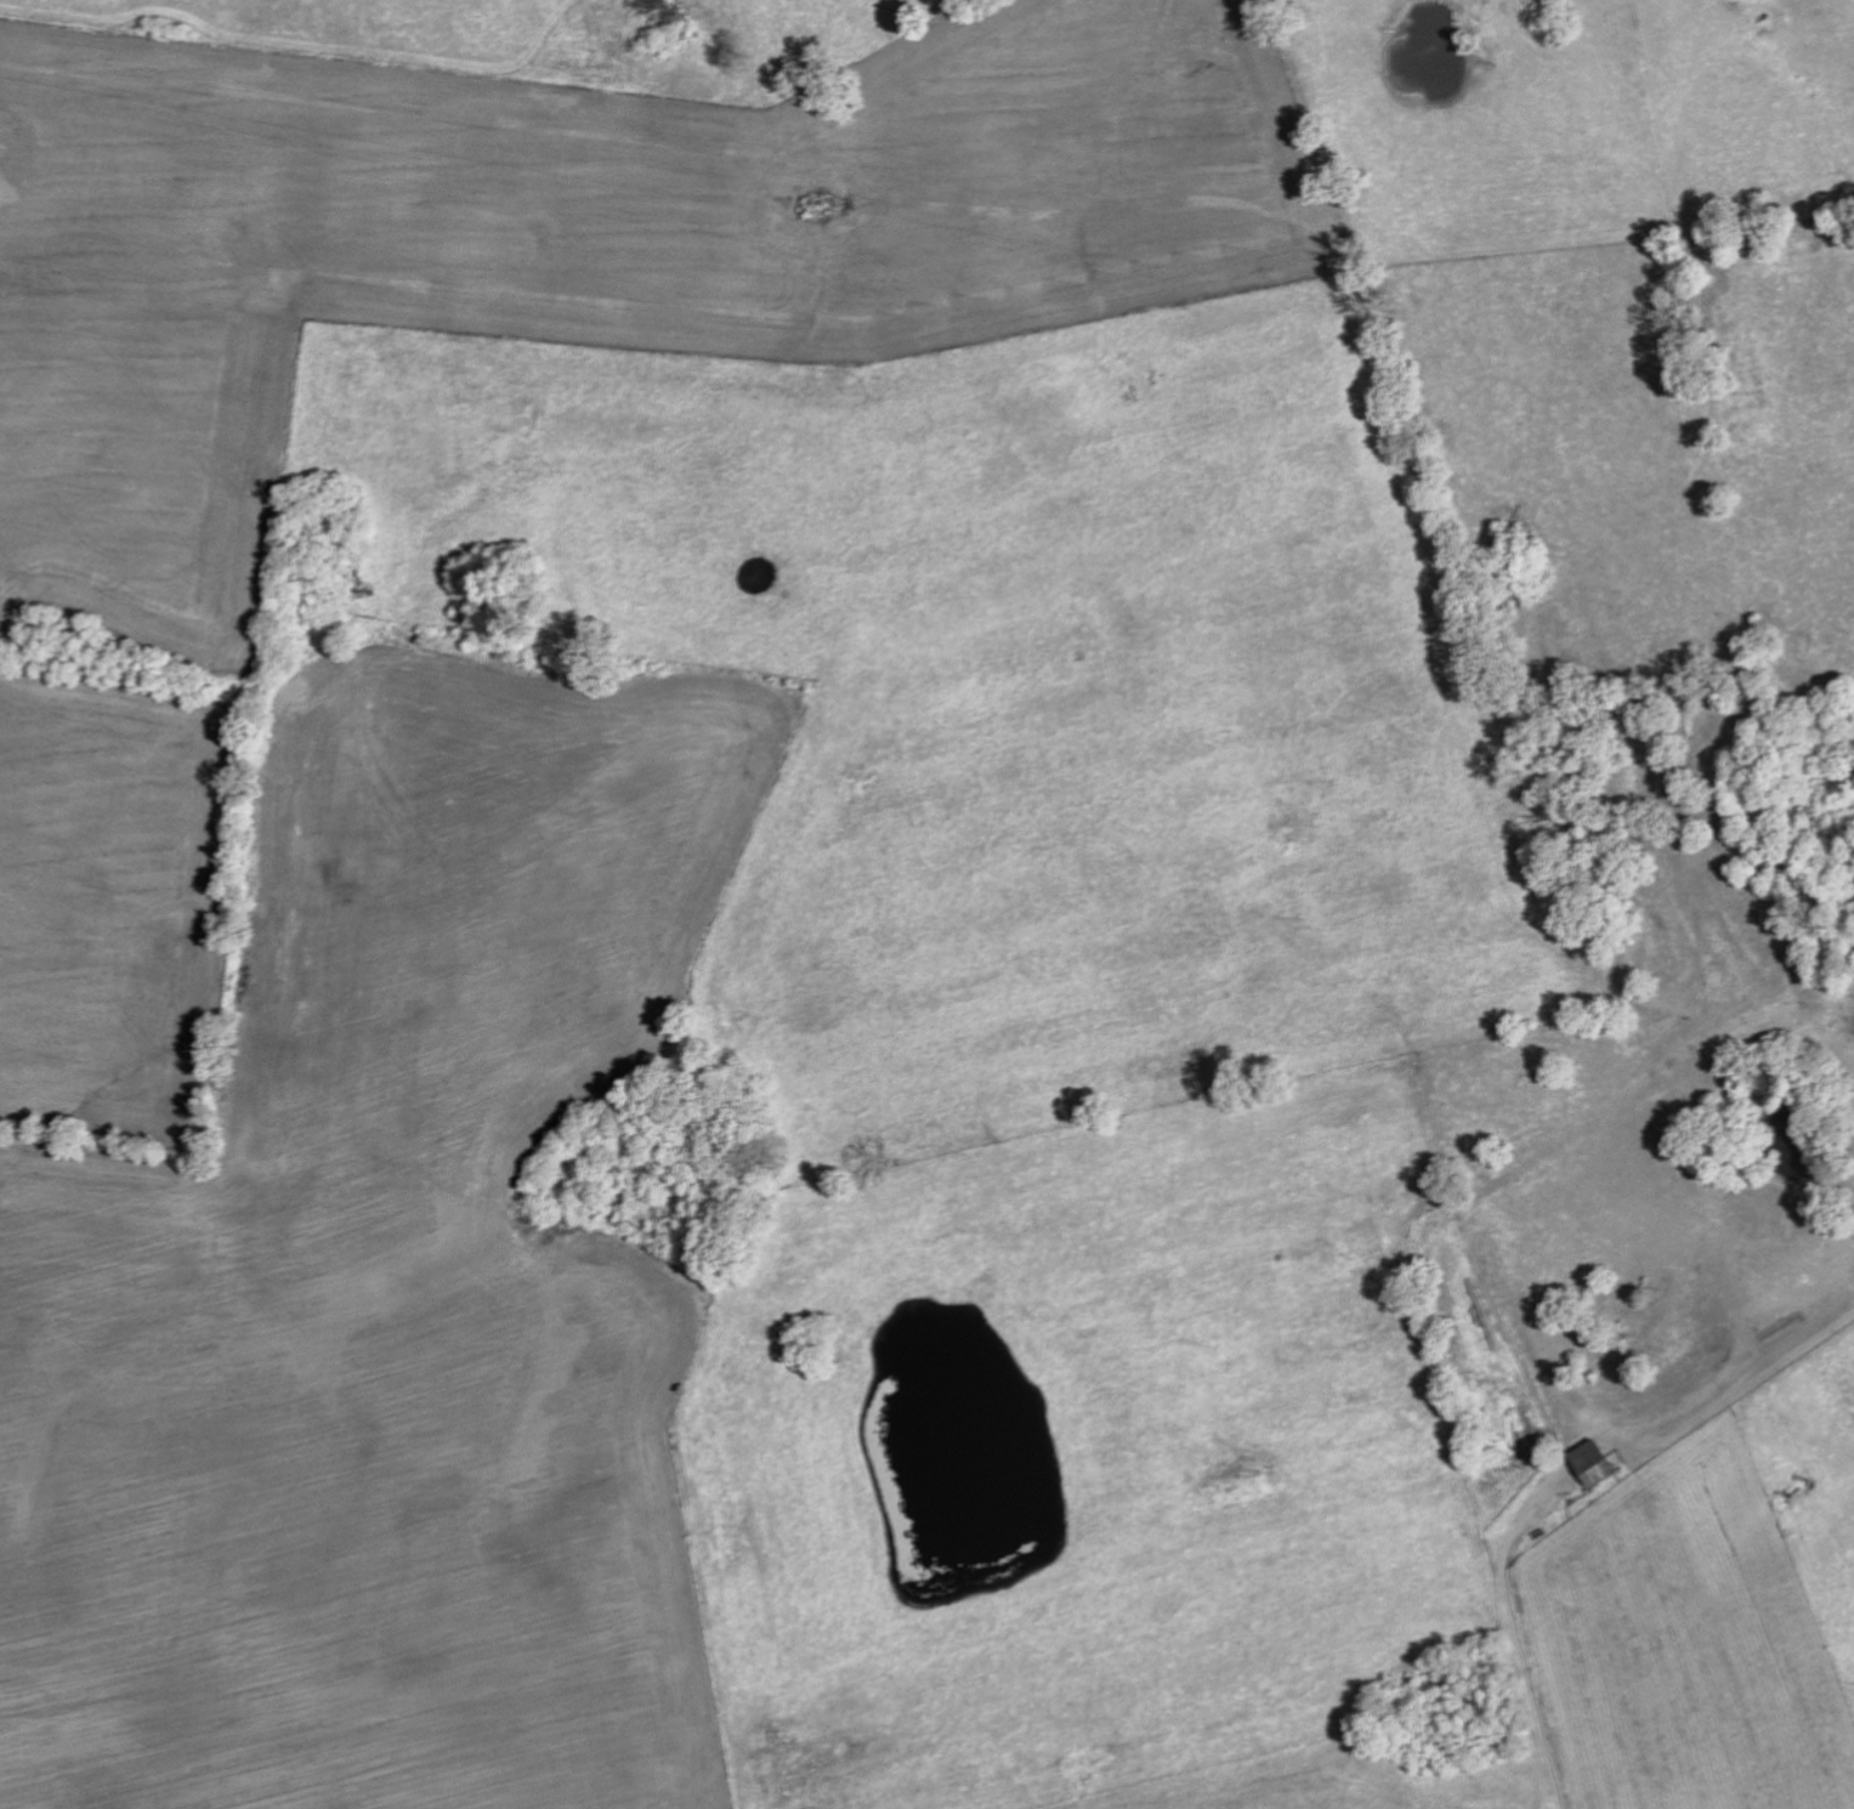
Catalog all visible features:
road: (1531, 1690)

